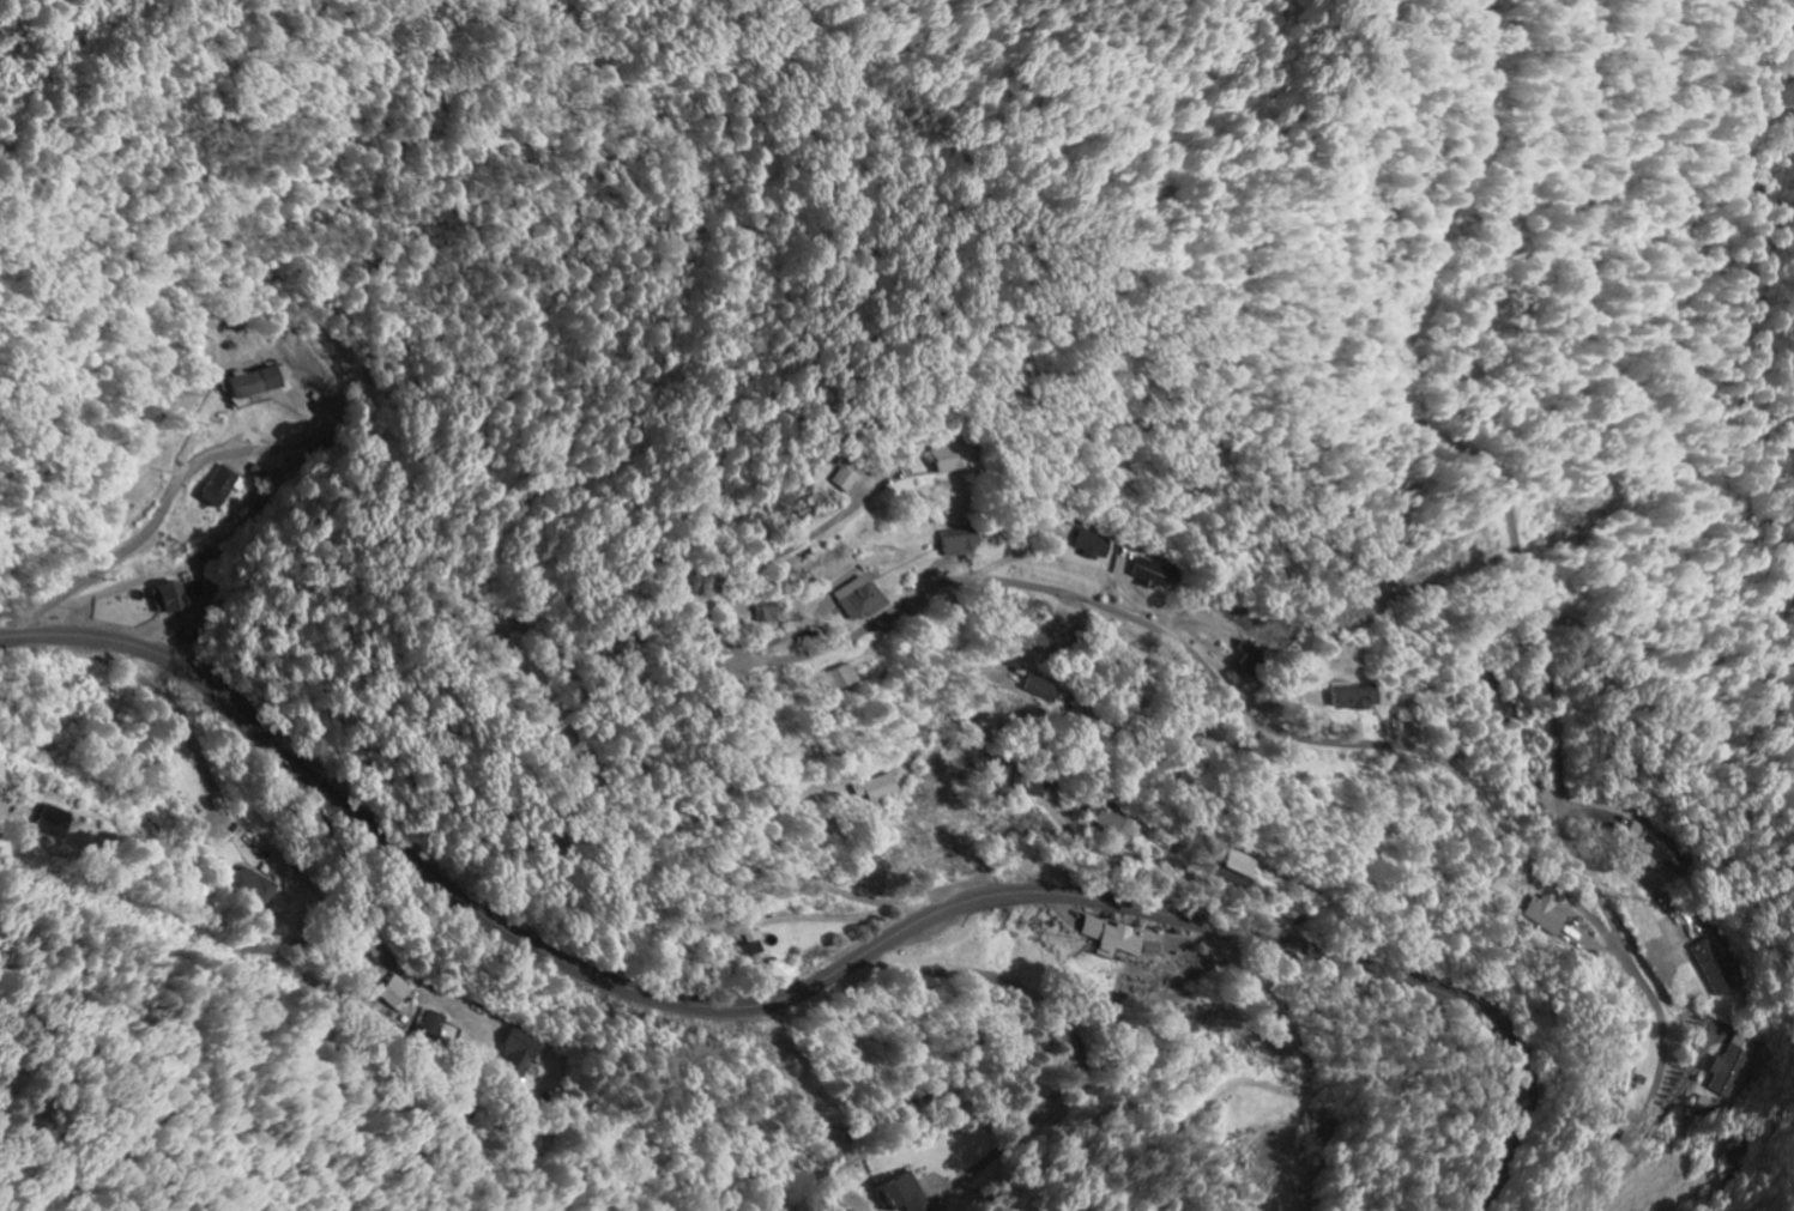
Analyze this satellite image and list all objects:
road: (1493, 16)
road: (1414, 346)
building: (259, 383)
building: (953, 460)
building: (846, 480)
building: (224, 489)
building: (961, 543)
road: (135, 545)
building: (1095, 546)
building: (1156, 576)
building: (173, 600)
building: (862, 600)
building: (769, 613)
road: (1668, 659)
road: (1208, 667)
building: (841, 679)
building: (1043, 692)
building: (1355, 697)
road: (1560, 725)
building: (1037, 789)
building: (877, 791)
building: (54, 824)
building: (1119, 825)
building: (1666, 853)
building: (1237, 870)
road: (1185, 873)
building: (254, 886)
building: (1544, 916)
building: (1119, 941)
building: (754, 949)
building: (1714, 967)
road: (813, 985)
building: (398, 993)
road: (1665, 1023)
building: (433, 1027)
building: (523, 1056)
building: (1730, 1071)
building: (1704, 1101)
building: (1736, 1158)
building: (905, 1195)

